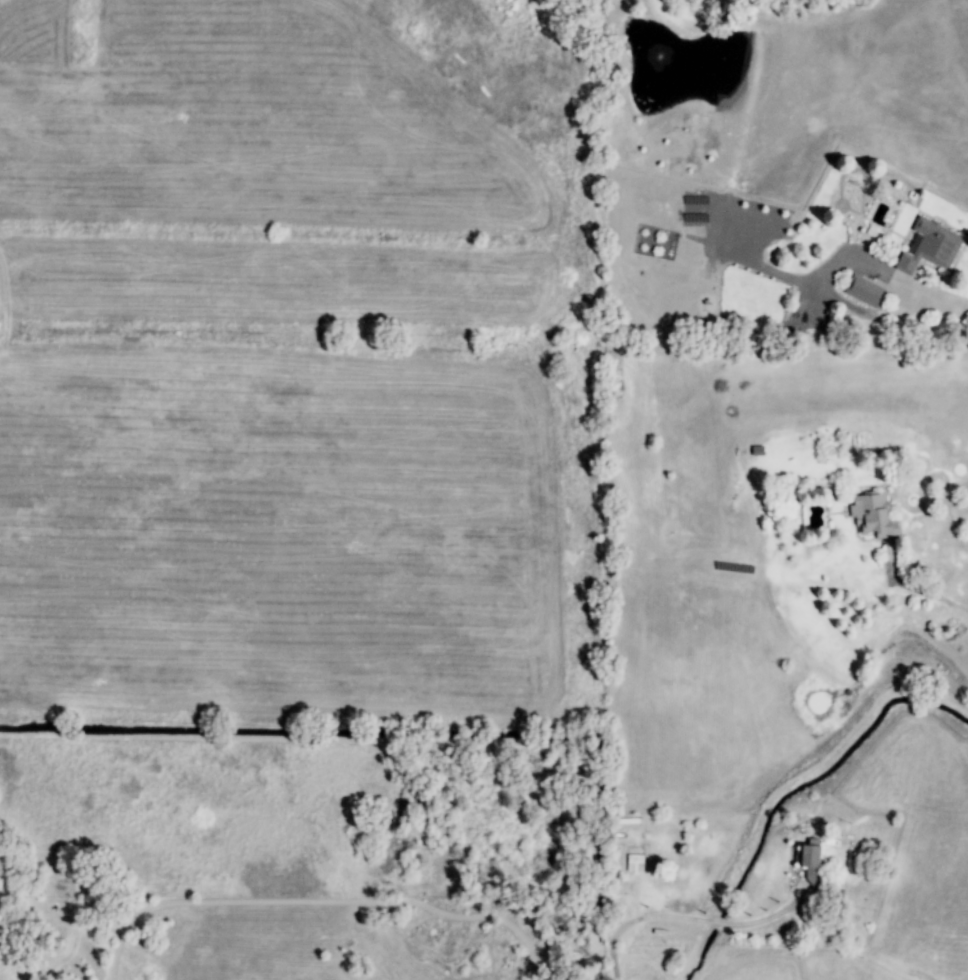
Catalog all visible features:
building: (929, 247)
building: (863, 291)
road: (940, 301)
building: (872, 515)
road: (922, 593)
building: (810, 863)
road: (688, 920)

